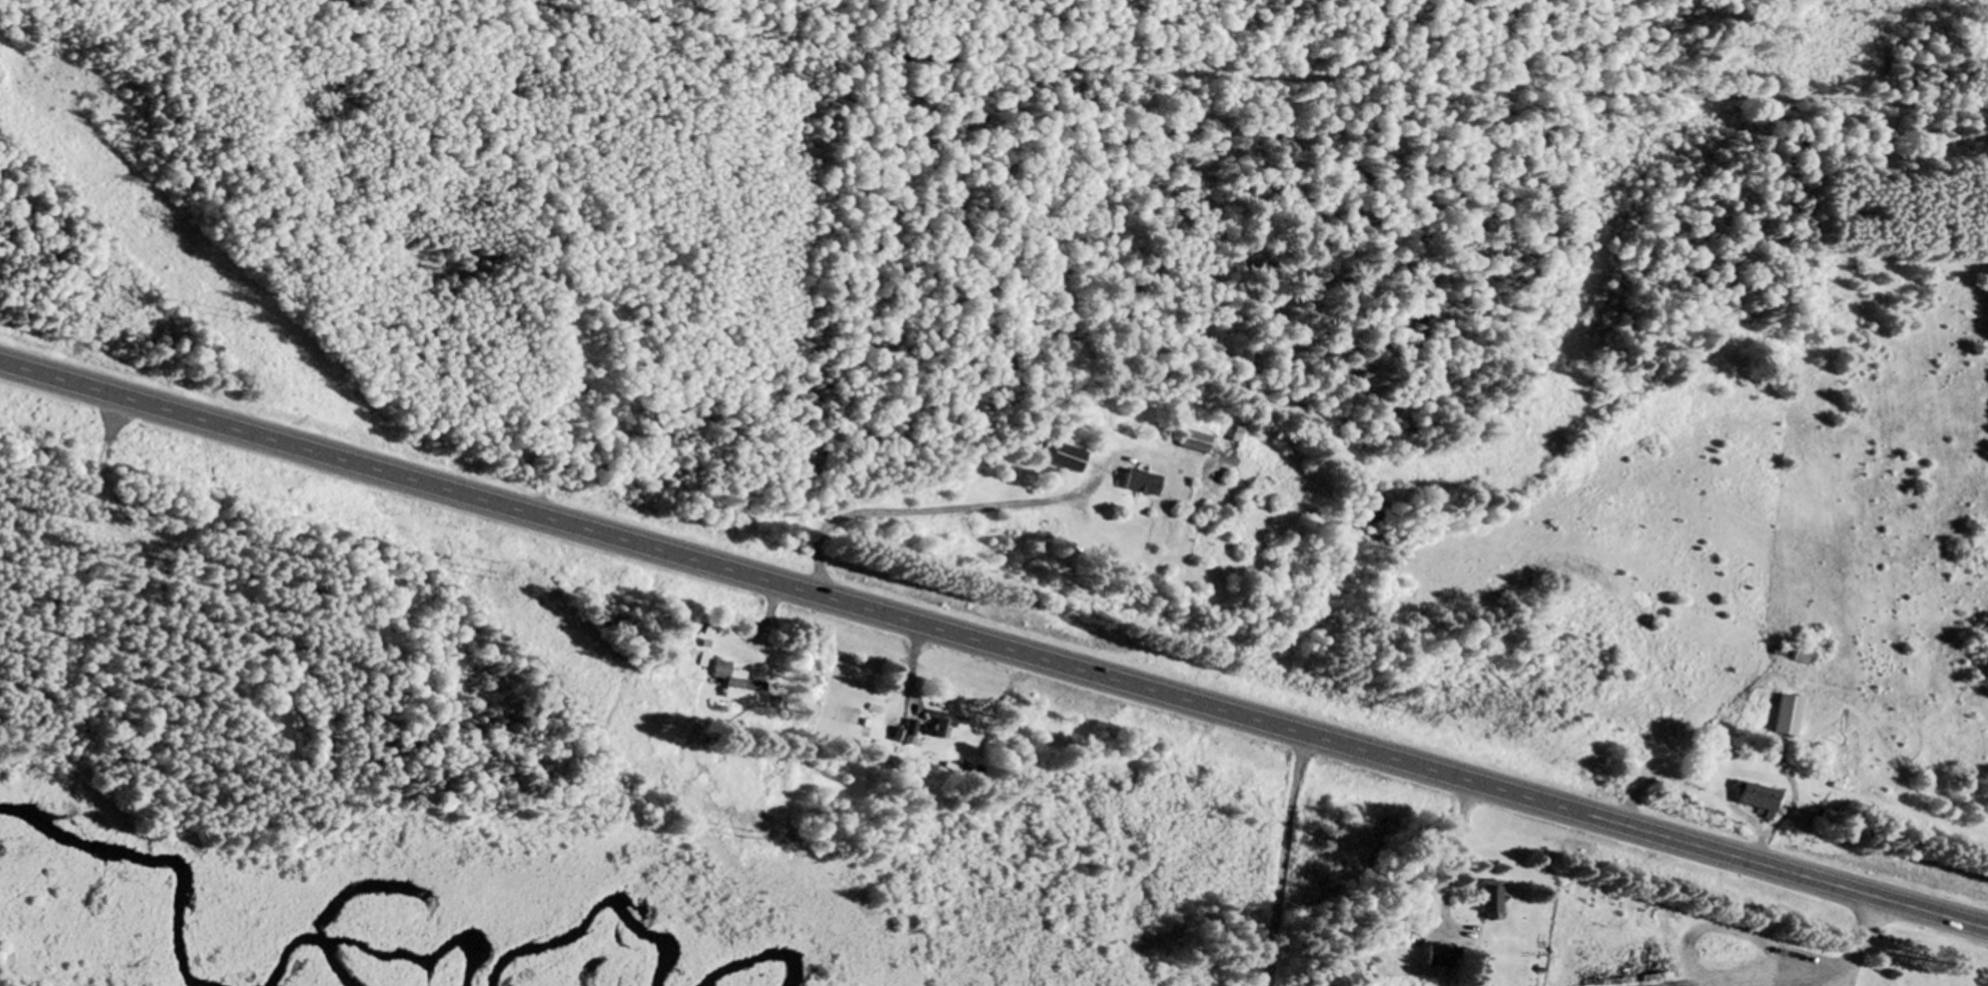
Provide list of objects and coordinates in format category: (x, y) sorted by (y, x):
road: (1248, 79)
power tower: (233, 317)
building: (1235, 436)
building: (1193, 443)
building: (1060, 458)
building: (1139, 484)
power tower: (489, 578)
road: (994, 645)
building: (732, 681)
building: (1783, 718)
building: (942, 725)
building: (907, 734)
building: (1751, 799)
power tower: (745, 835)
road: (1285, 860)
building: (1485, 901)
building: (1435, 956)

